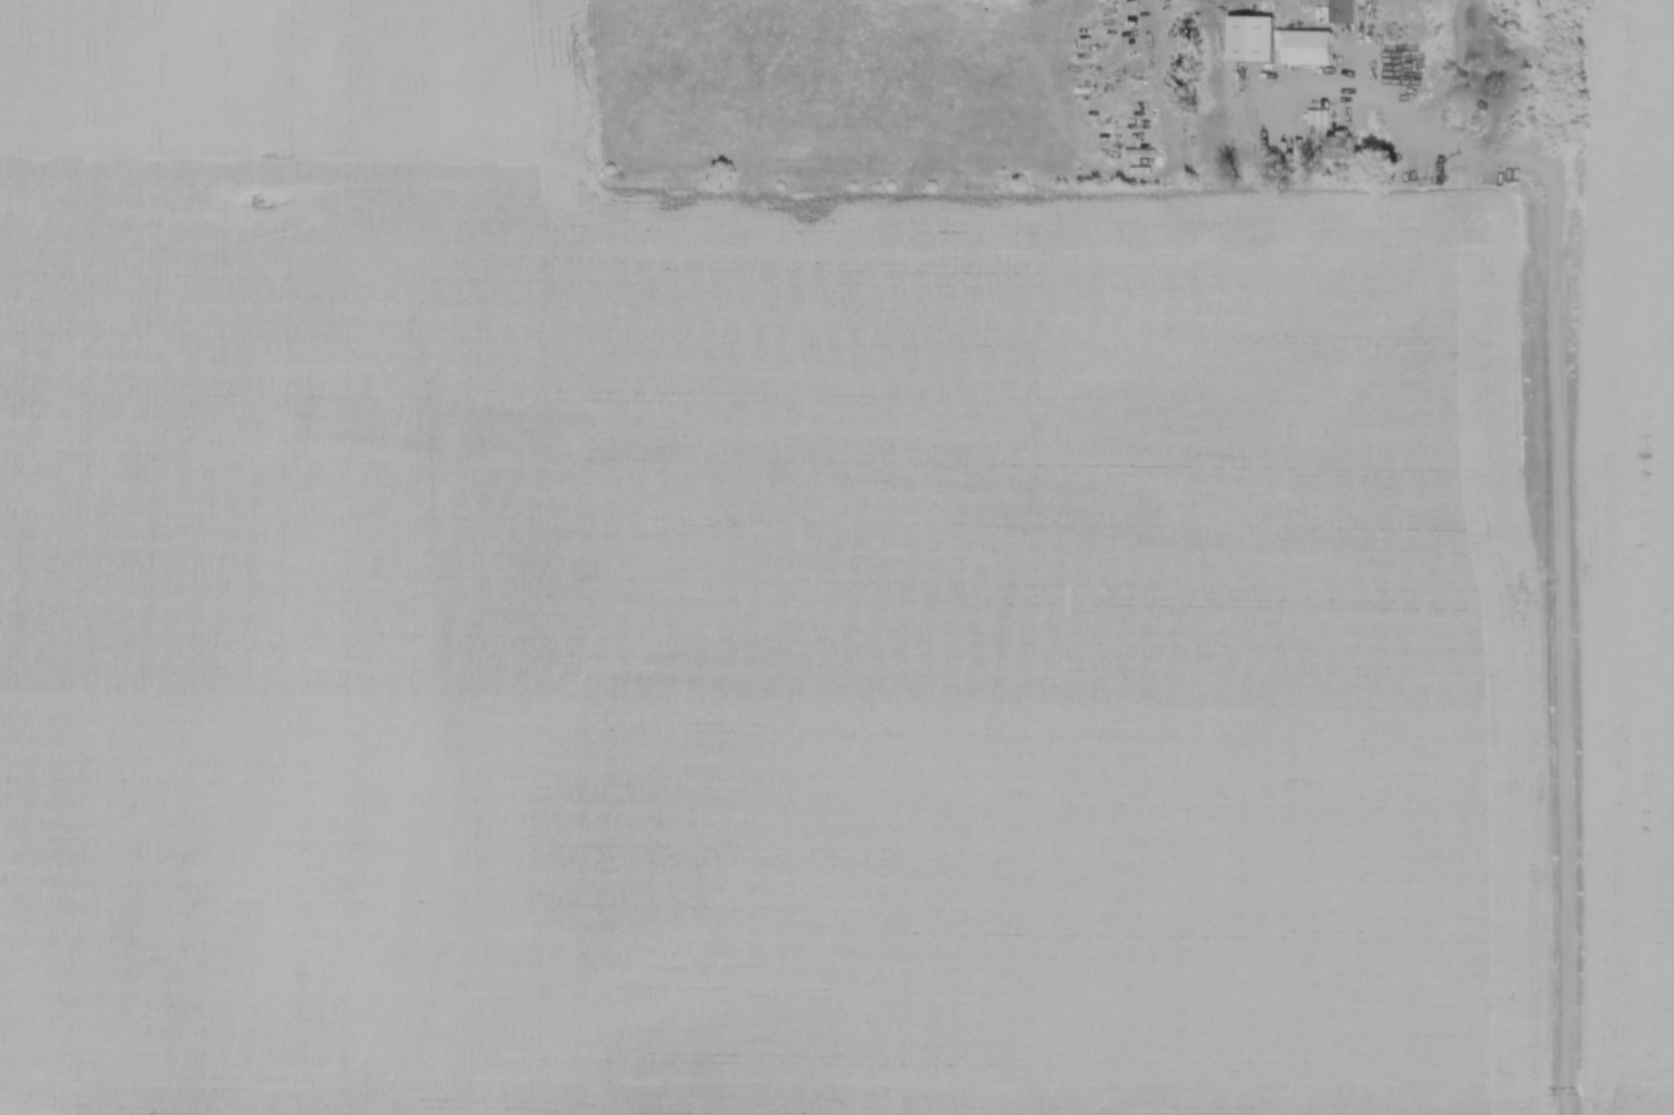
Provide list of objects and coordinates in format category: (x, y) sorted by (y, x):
building: (1342, 10)
building: (1248, 38)
building: (1305, 47)
road: (1548, 93)
building: (1342, 147)
road: (1556, 494)

